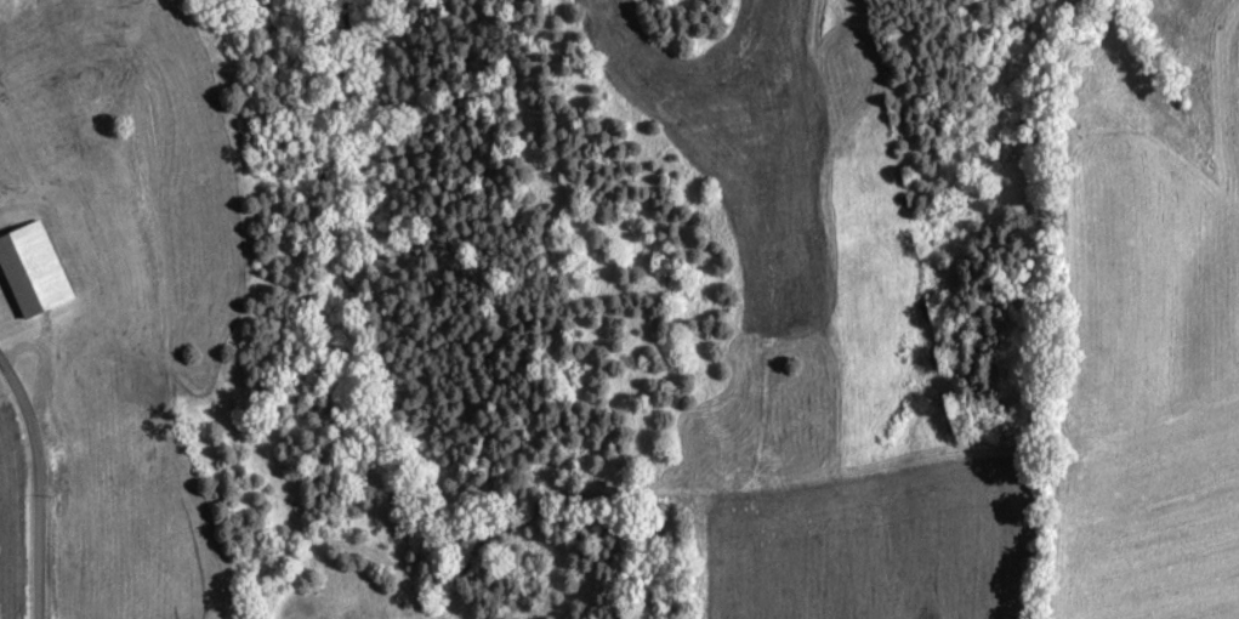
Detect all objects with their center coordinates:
building: (33, 277)
road: (38, 484)

